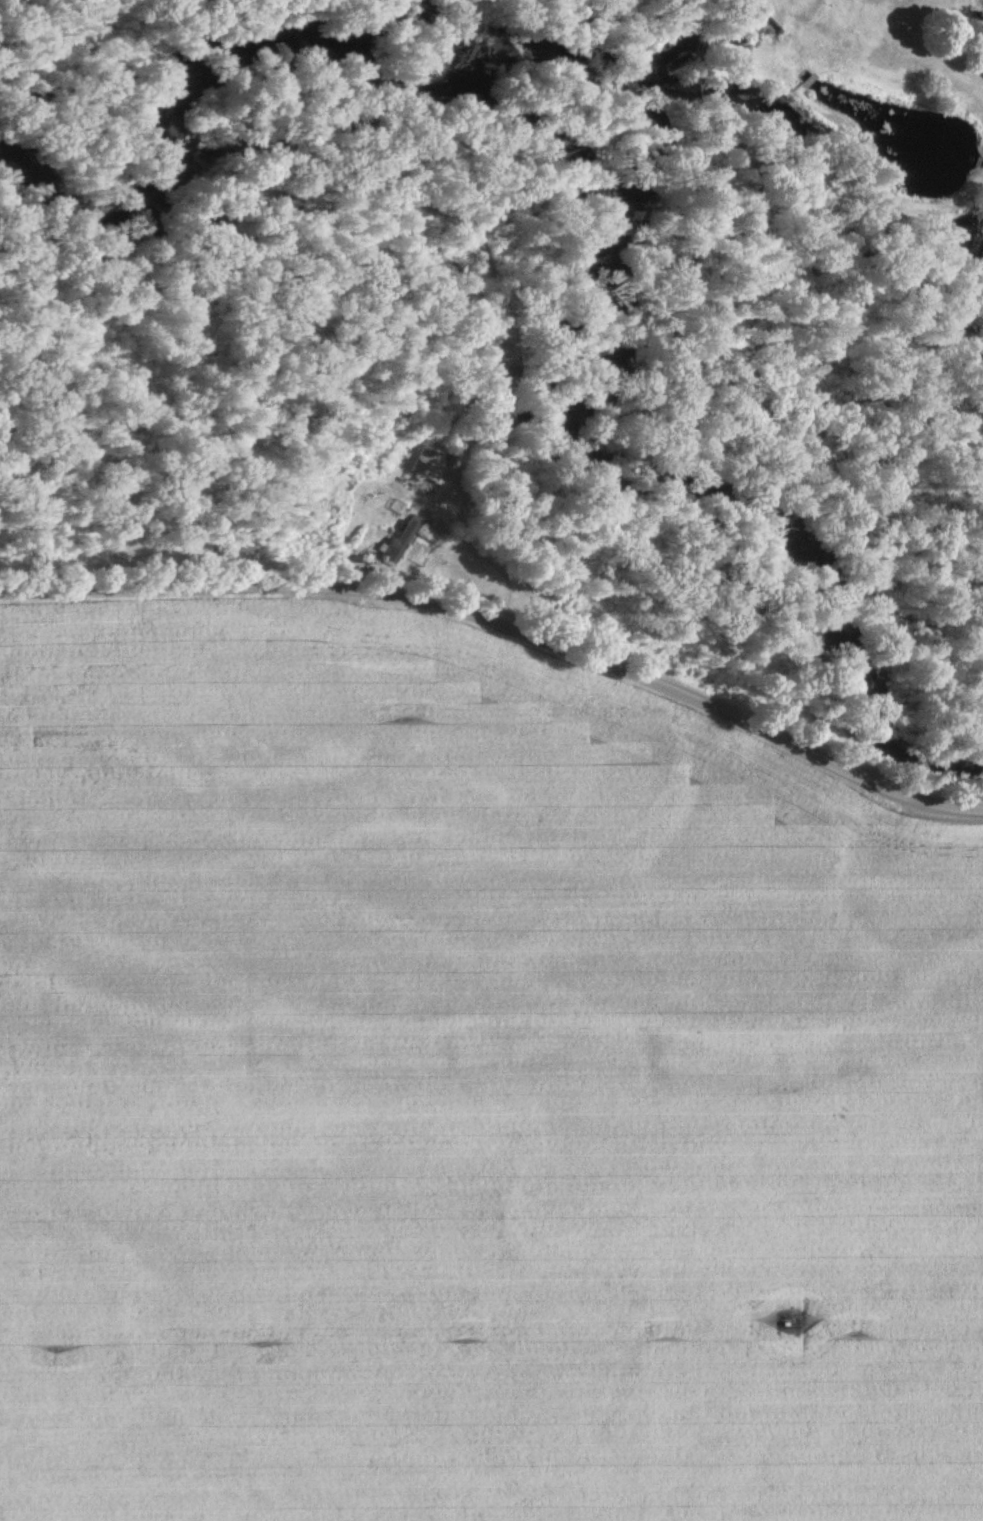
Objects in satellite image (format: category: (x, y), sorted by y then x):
building: (756, 2)
river: (440, 97)
building: (505, 377)
building: (429, 464)
building: (399, 544)
road: (508, 625)

